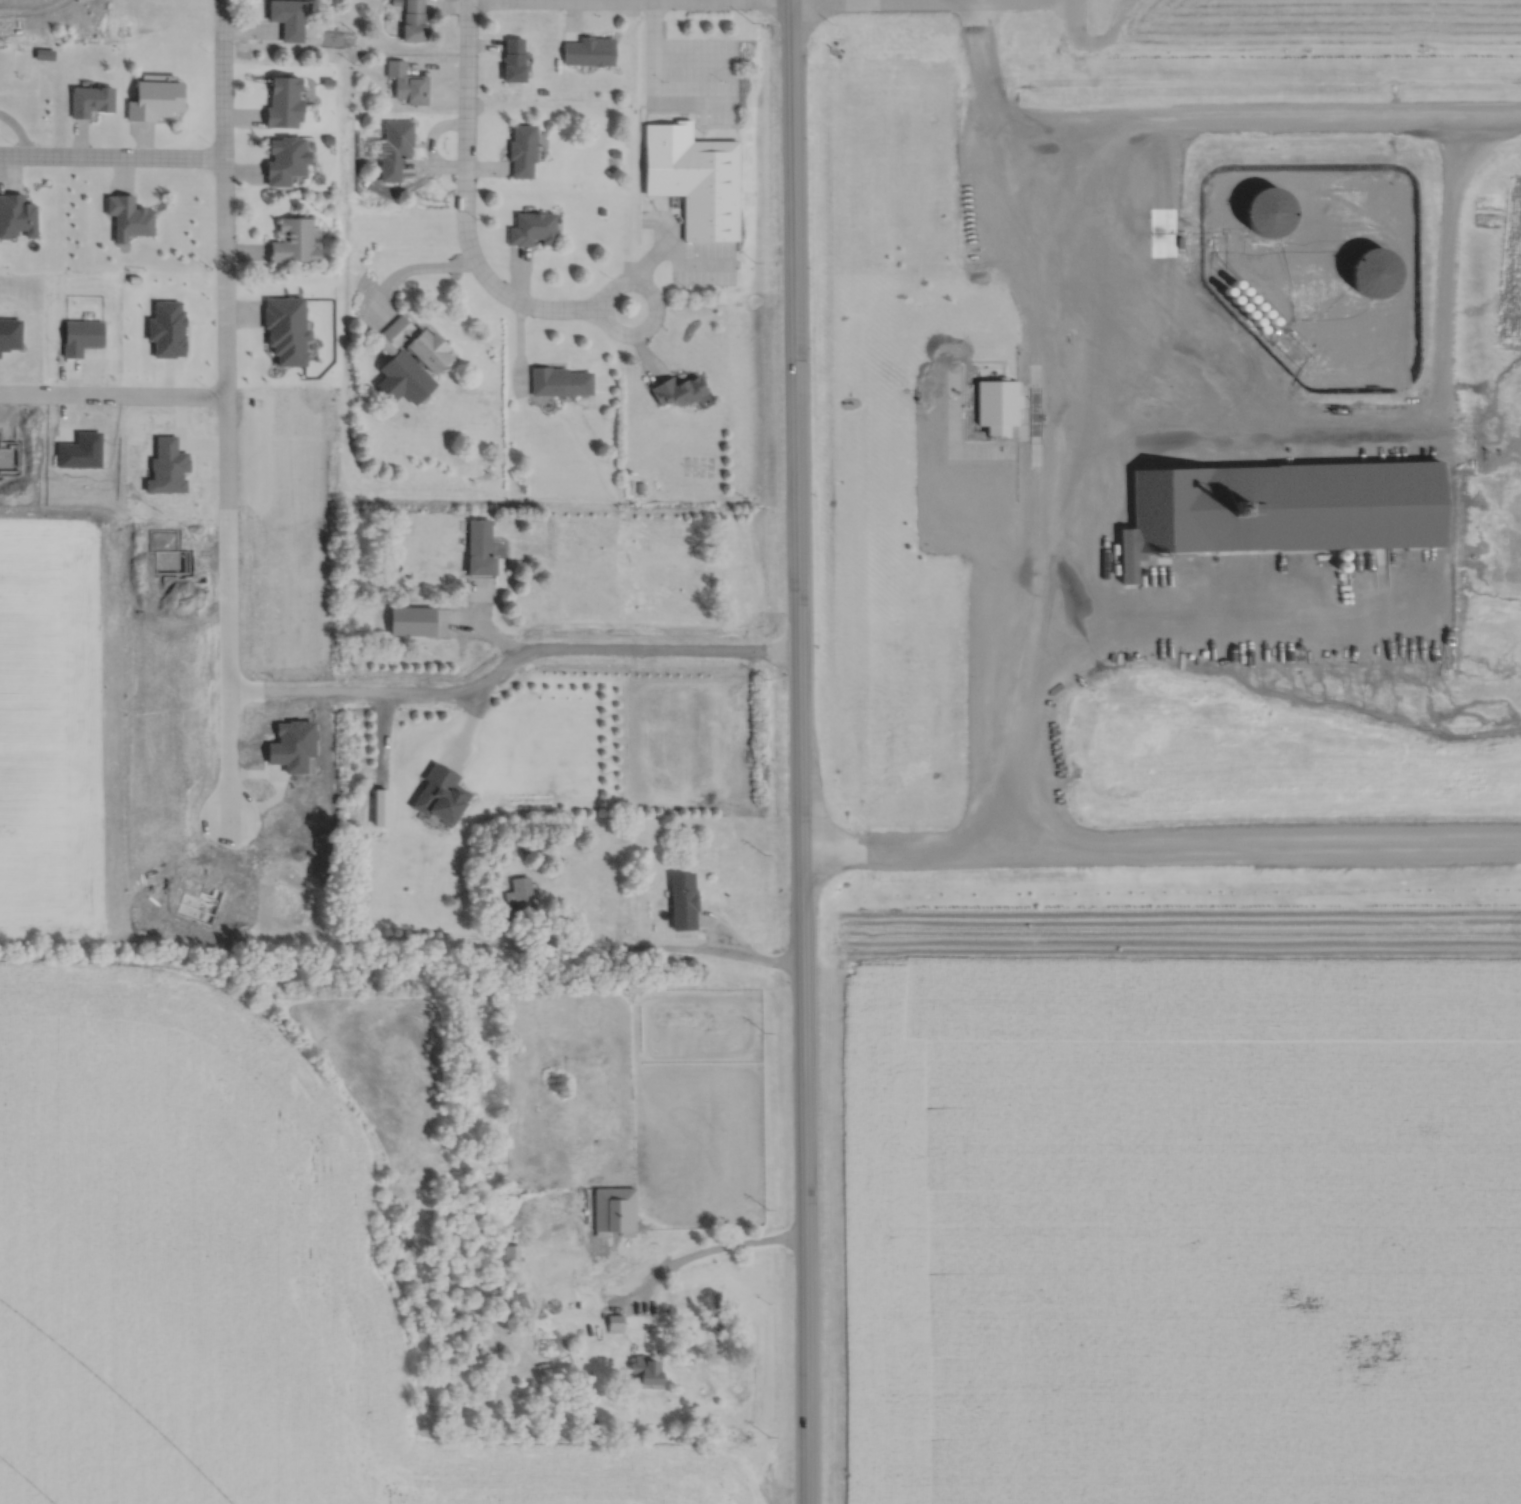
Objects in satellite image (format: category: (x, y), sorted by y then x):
street lamp: (743, 9)
street lamp: (486, 12)
building: (286, 17)
road: (1081, 17)
building: (411, 19)
building: (585, 48)
street lamp: (208, 49)
road: (671, 52)
building: (510, 57)
building: (404, 81)
building: (87, 98)
road: (1261, 114)
street lamp: (206, 136)
street lamp: (9, 138)
building: (393, 145)
building: (519, 149)
road: (114, 151)
building: (694, 182)
road: (465, 204)
street lamp: (477, 214)
building: (529, 227)
building: (290, 239)
road: (673, 249)
road: (230, 258)
road: (420, 270)
street lamp: (607, 273)
road: (629, 330)
building: (414, 343)
building: (559, 380)
building: (672, 389)
road: (116, 394)
road: (1046, 507)
building: (476, 545)
building: (409, 618)
road: (458, 618)
road: (614, 646)
road: (800, 751)
building: (519, 893)
building: (680, 898)
road: (655, 951)
building: (612, 1207)
road: (714, 1245)
building: (613, 1319)
building: (641, 1367)

